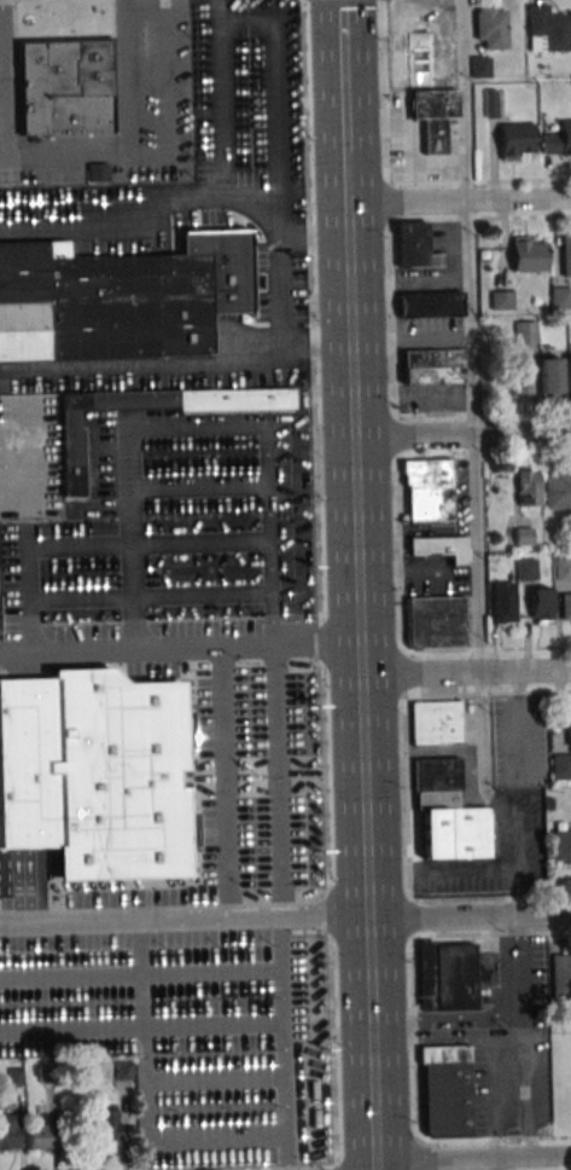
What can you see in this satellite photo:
road: (0, 22)
building: (491, 28)
building: (547, 29)
road: (340, 36)
road: (1, 66)
parking lot: (152, 66)
building: (479, 66)
road: (4, 77)
road: (343, 83)
building: (432, 86)
building: (65, 89)
road: (221, 92)
road: (168, 95)
building: (489, 103)
building: (205, 111)
road: (2, 112)
road: (343, 123)
road: (127, 137)
building: (515, 139)
building: (558, 139)
road: (2, 156)
road: (478, 181)
road: (458, 202)
road: (478, 219)
road: (311, 232)
building: (414, 247)
building: (528, 254)
building: (566, 254)
building: (560, 297)
building: (120, 299)
building: (501, 299)
building: (430, 303)
building: (524, 332)
road: (315, 346)
parking lot: (174, 355)
road: (206, 365)
building: (433, 366)
building: (569, 376)
building: (548, 377)
building: (520, 378)
road: (482, 412)
road: (474, 416)
road: (193, 429)
road: (460, 433)
building: (72, 454)
road: (482, 454)
building: (528, 486)
building: (429, 488)
building: (557, 488)
building: (524, 535)
building: (441, 548)
road: (97, 550)
building: (525, 568)
building: (563, 568)
road: (398, 575)
road: (320, 585)
building: (503, 603)
building: (540, 606)
building: (565, 606)
building: (437, 621)
road: (179, 645)
road: (485, 648)
road: (359, 661)
road: (465, 673)
road: (486, 693)
building: (436, 722)
road: (518, 723)
building: (567, 730)
building: (561, 769)
building: (95, 778)
road: (278, 781)
road: (225, 782)
building: (453, 826)
building: (561, 846)
road: (517, 861)
road: (439, 865)
road: (490, 897)
road: (467, 914)
road: (181, 921)
road: (490, 933)
building: (560, 974)
road: (141, 977)
building: (448, 977)
road: (519, 977)
parking lot: (183, 1013)
road: (141, 1025)
road: (284, 1038)
road: (459, 1039)
road: (395, 1042)
building: (122, 1070)
building: (46, 1073)
building: (14, 1077)
road: (212, 1078)
building: (445, 1090)
road: (495, 1097)
road: (525, 1097)
building: (105, 1124)
building: (8, 1131)
building: (39, 1137)
road: (214, 1137)
road: (500, 1139)
road: (418, 1155)
road: (470, 1157)
road: (496, 1163)
road: (316, 1169)

